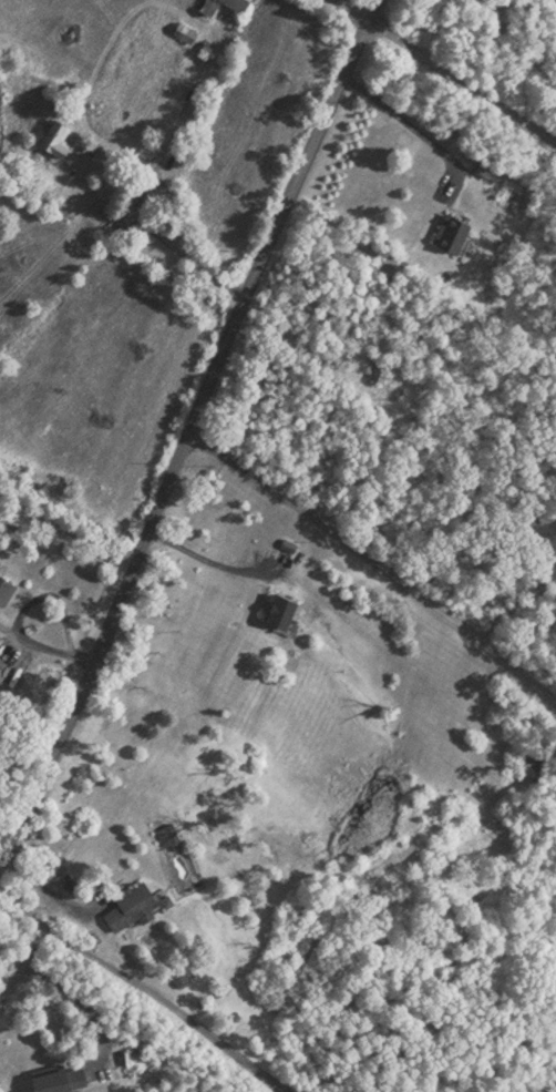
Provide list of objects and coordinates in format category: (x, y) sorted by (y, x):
building: (234, 2)
building: (204, 4)
road: (358, 8)
road: (375, 8)
road: (462, 91)
road: (406, 130)
building: (51, 141)
road: (146, 185)
road: (279, 223)
building: (450, 231)
road: (373, 564)
building: (4, 589)
building: (275, 609)
road: (18, 622)
road: (101, 647)
building: (165, 831)
road: (42, 891)
building: (127, 902)
road: (145, 987)
road: (68, 988)
building: (53, 1076)

